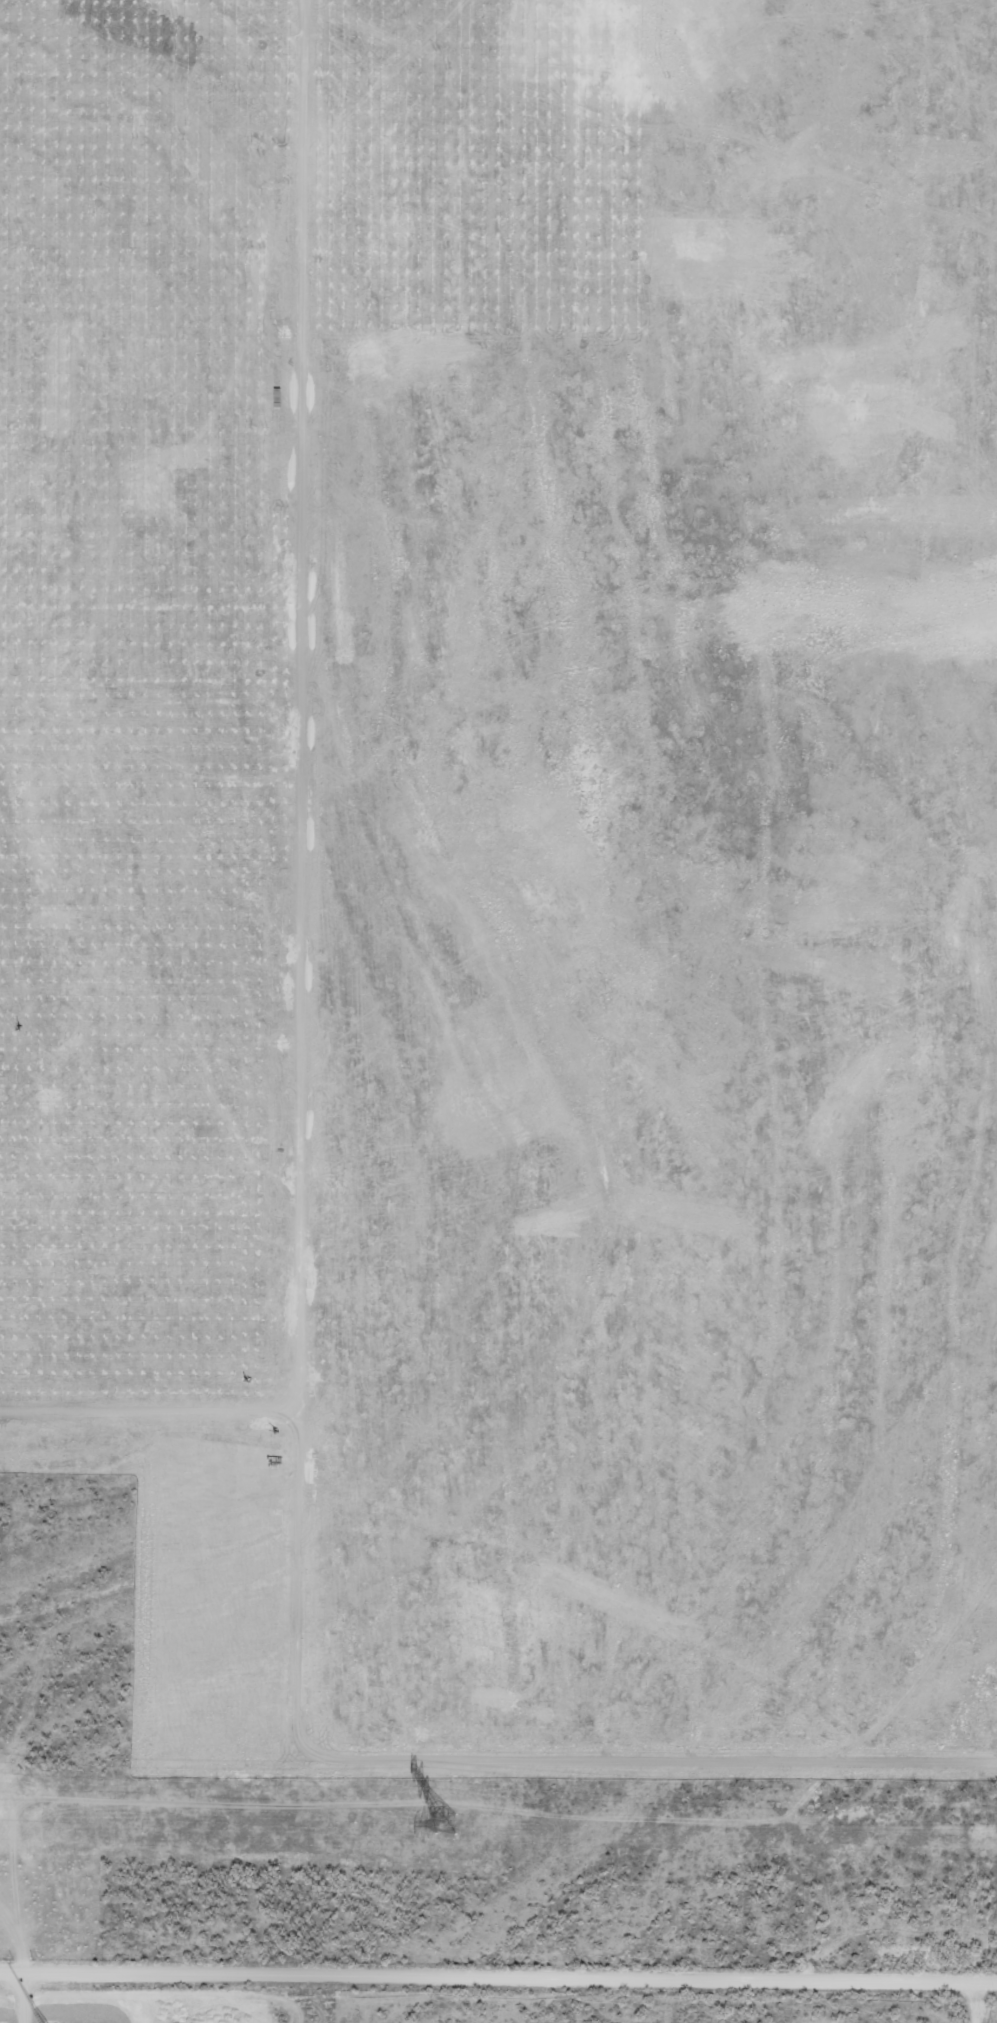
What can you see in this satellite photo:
power tower: (444, 1824)
road: (498, 1979)
road: (972, 2002)

